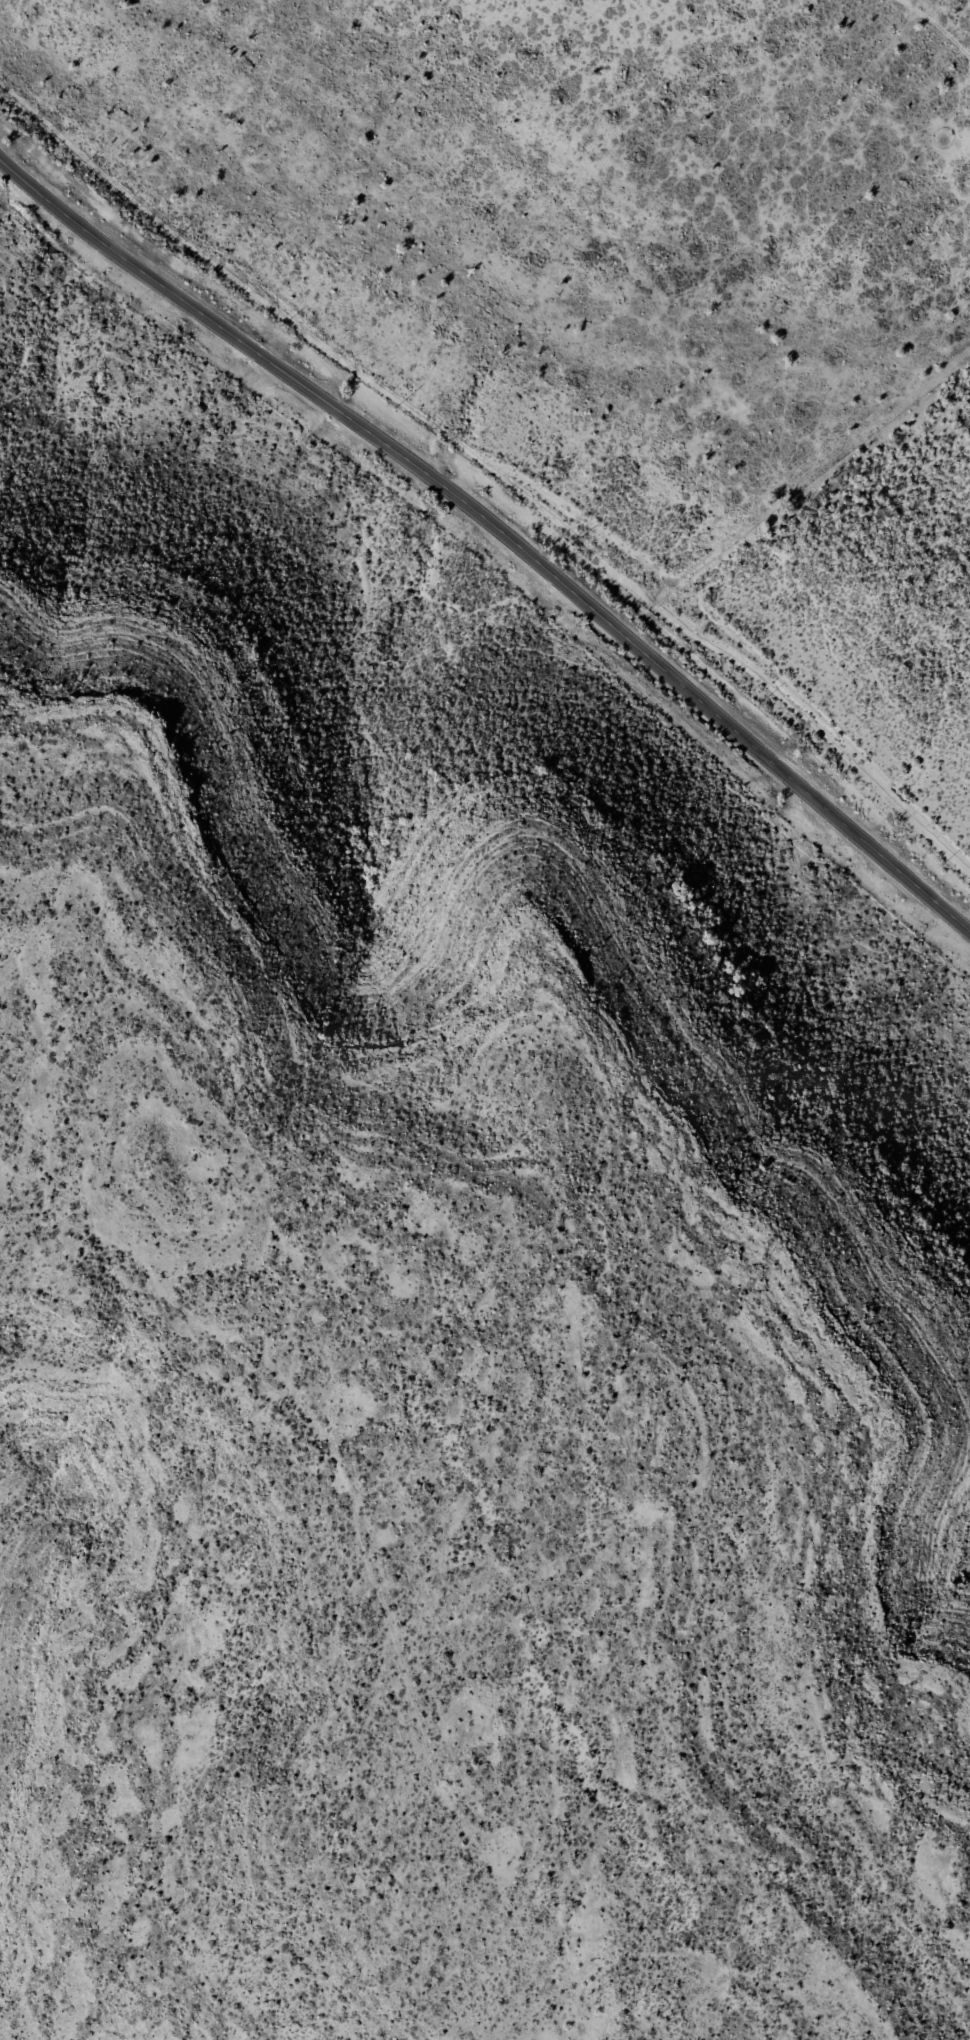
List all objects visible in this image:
road: (496, 527)

